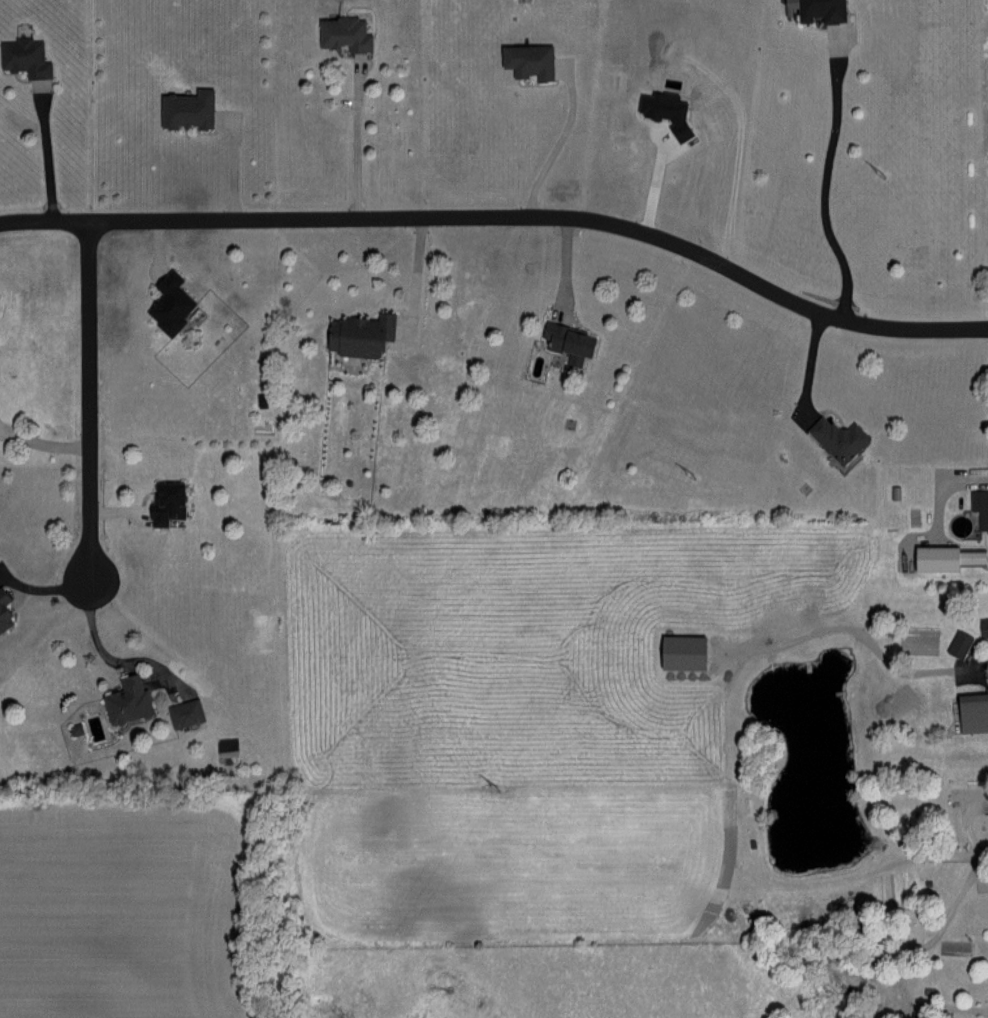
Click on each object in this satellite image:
building: (816, 9)
building: (339, 32)
building: (22, 58)
building: (522, 58)
building: (181, 107)
building: (663, 110)
road: (359, 137)
road: (547, 148)
road: (44, 150)
power tower: (890, 168)
road: (822, 177)
building: (986, 186)
road: (504, 217)
road: (567, 268)
road: (417, 276)
building: (164, 302)
building: (354, 333)
building: (564, 340)
road: (89, 399)
building: (834, 437)
road: (43, 441)
power tower: (701, 471)
building: (161, 502)
building: (978, 507)
building: (940, 557)
building: (2, 595)
building: (2, 619)
building: (981, 624)
building: (955, 643)
road: (97, 649)
road: (984, 664)
building: (121, 700)
building: (970, 711)
building: (180, 712)
power tower: (505, 784)
building: (986, 814)
road: (965, 826)
road: (918, 853)
road: (981, 855)
road: (945, 914)
road: (948, 1006)

